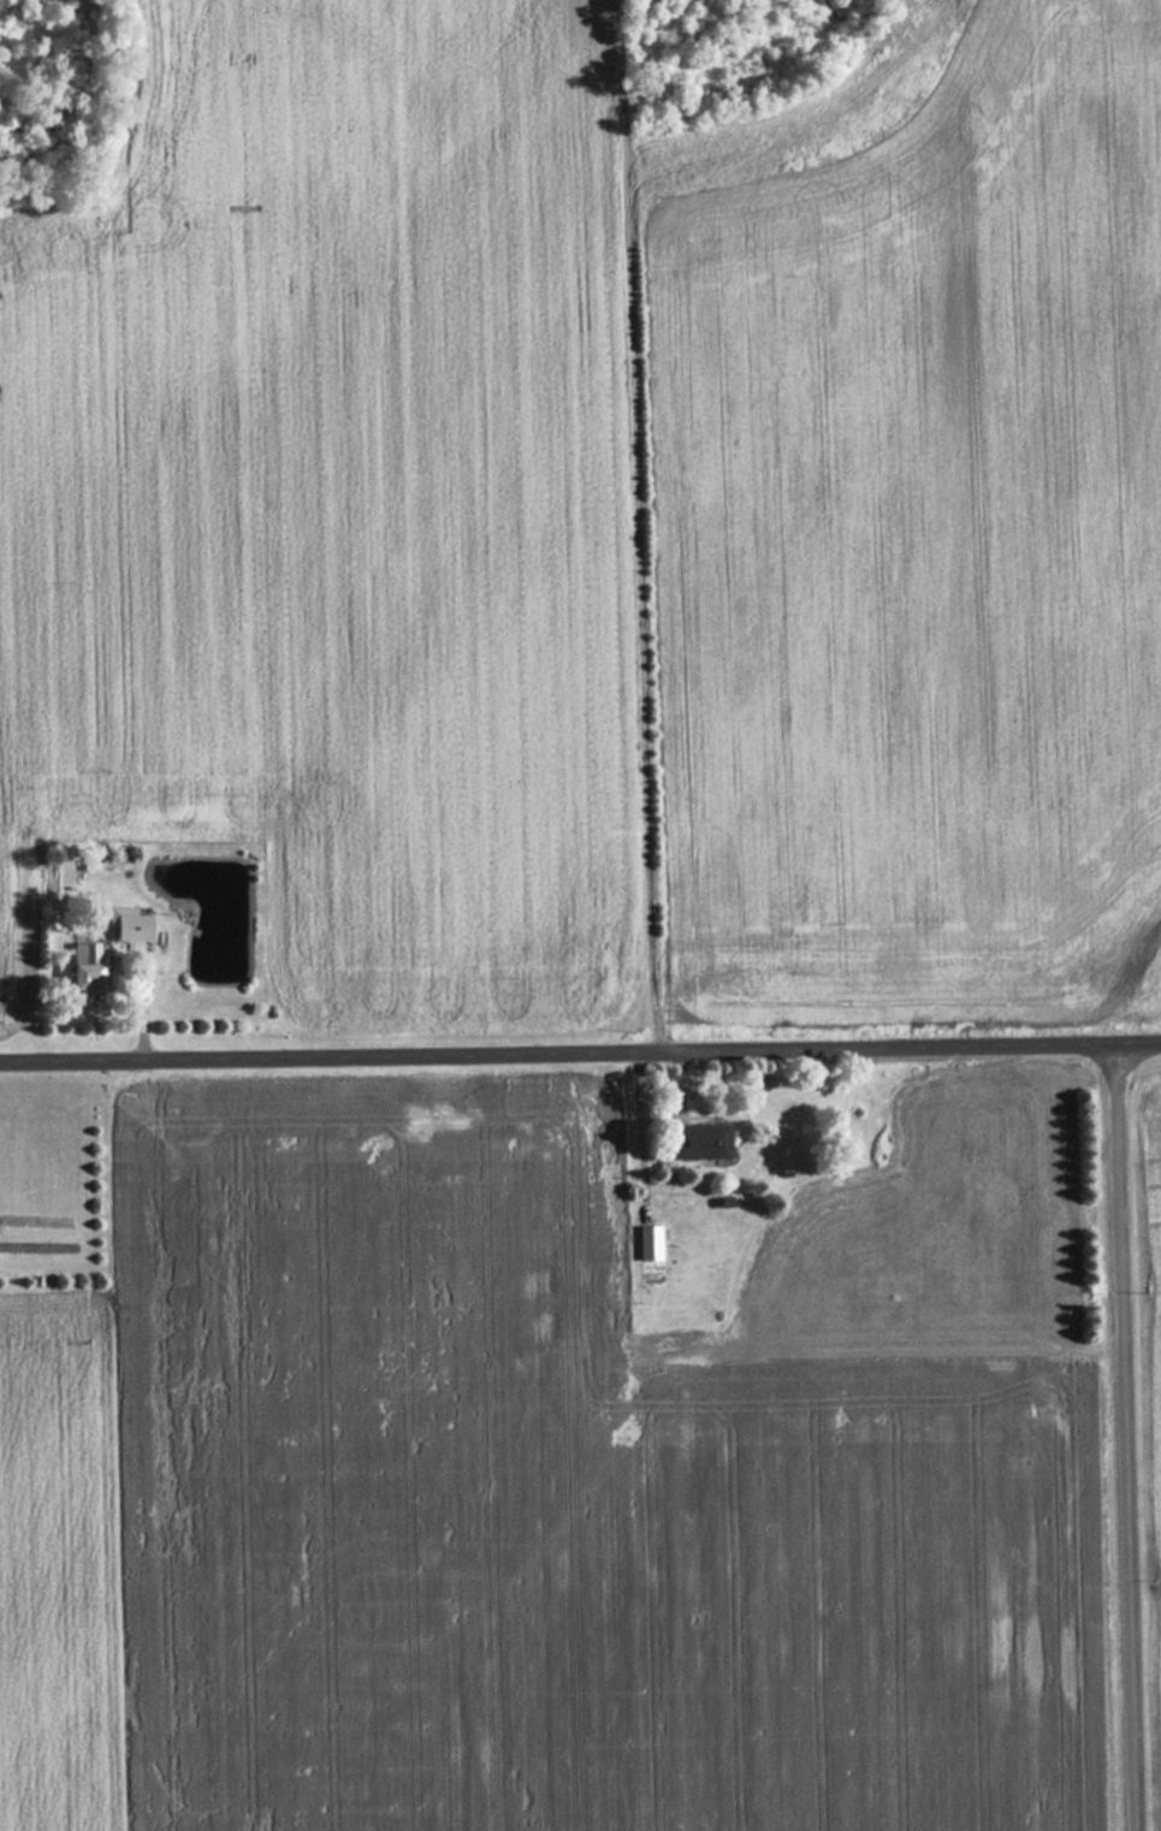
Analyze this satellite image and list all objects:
road: (639, 527)
crop: (917, 550)
building: (123, 924)
building: (79, 968)
road: (580, 1050)
building: (697, 1142)
crop: (1157, 1220)
building: (645, 1244)
road: (1127, 1438)
crop: (537, 1503)
crop: (53, 1570)

